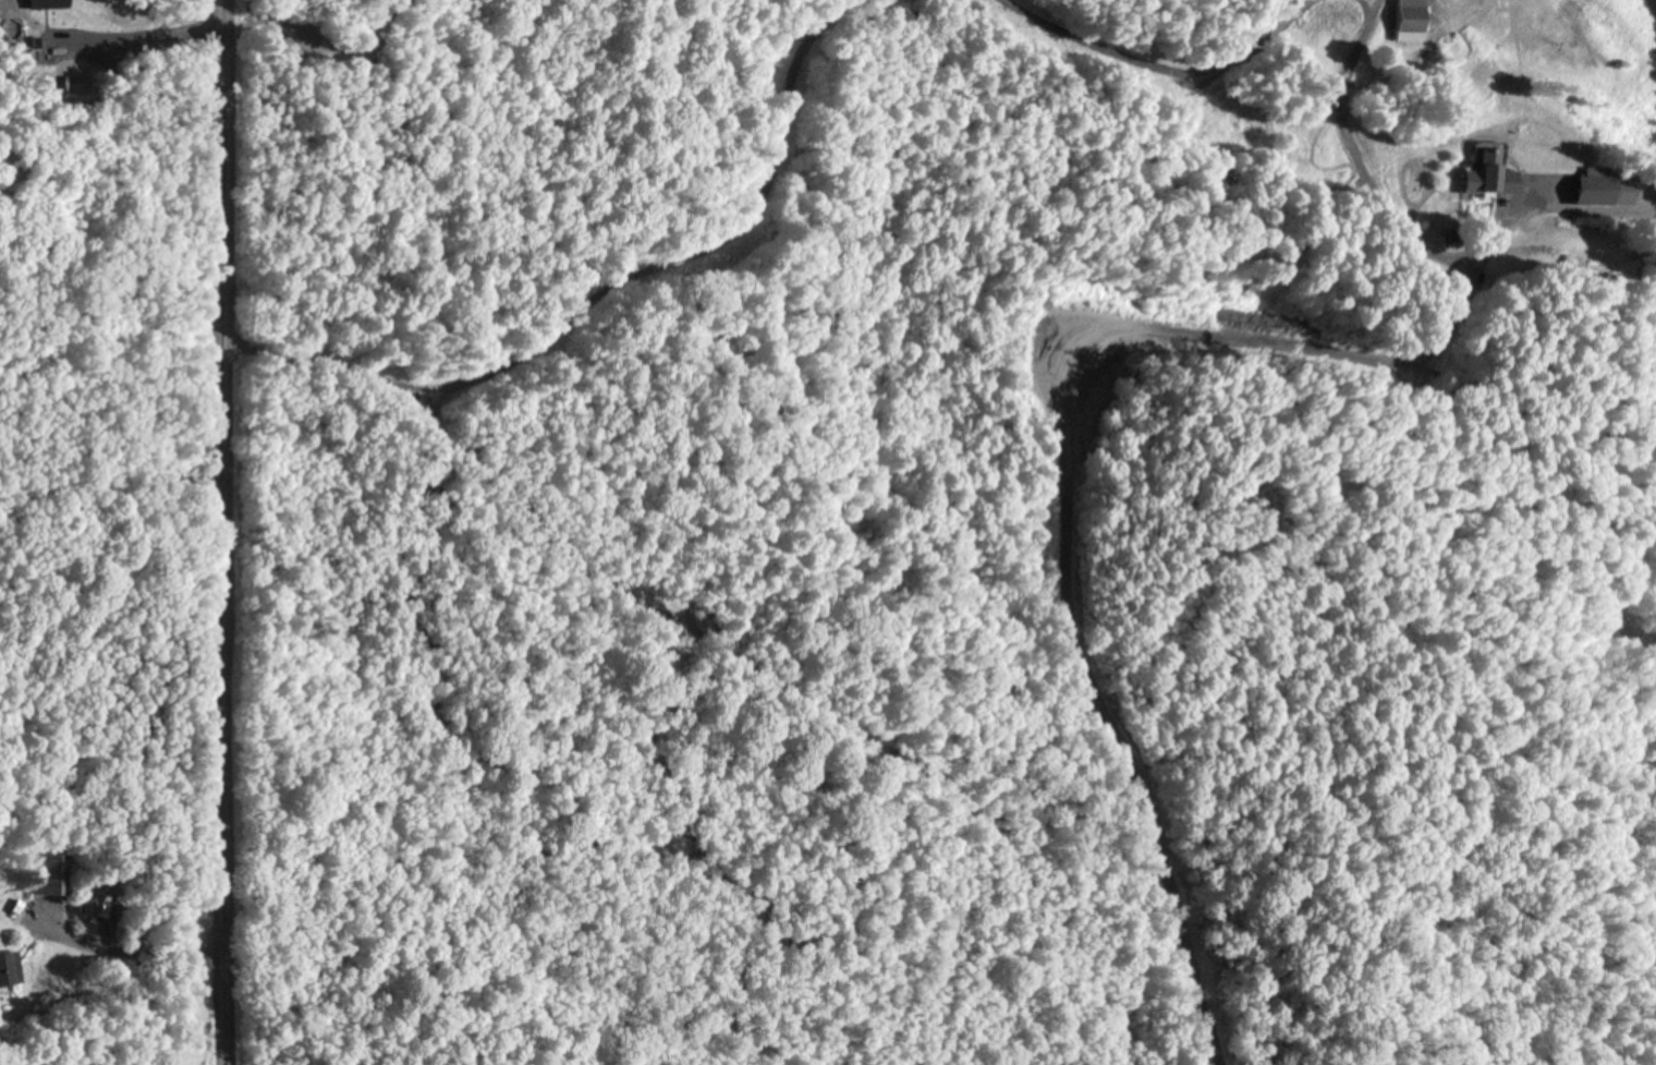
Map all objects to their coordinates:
building: (1405, 20)
road: (1152, 66)
building: (1483, 177)
building: (1596, 187)
road: (602, 287)
road: (217, 532)
building: (48, 872)
building: (95, 904)
building: (9, 968)

